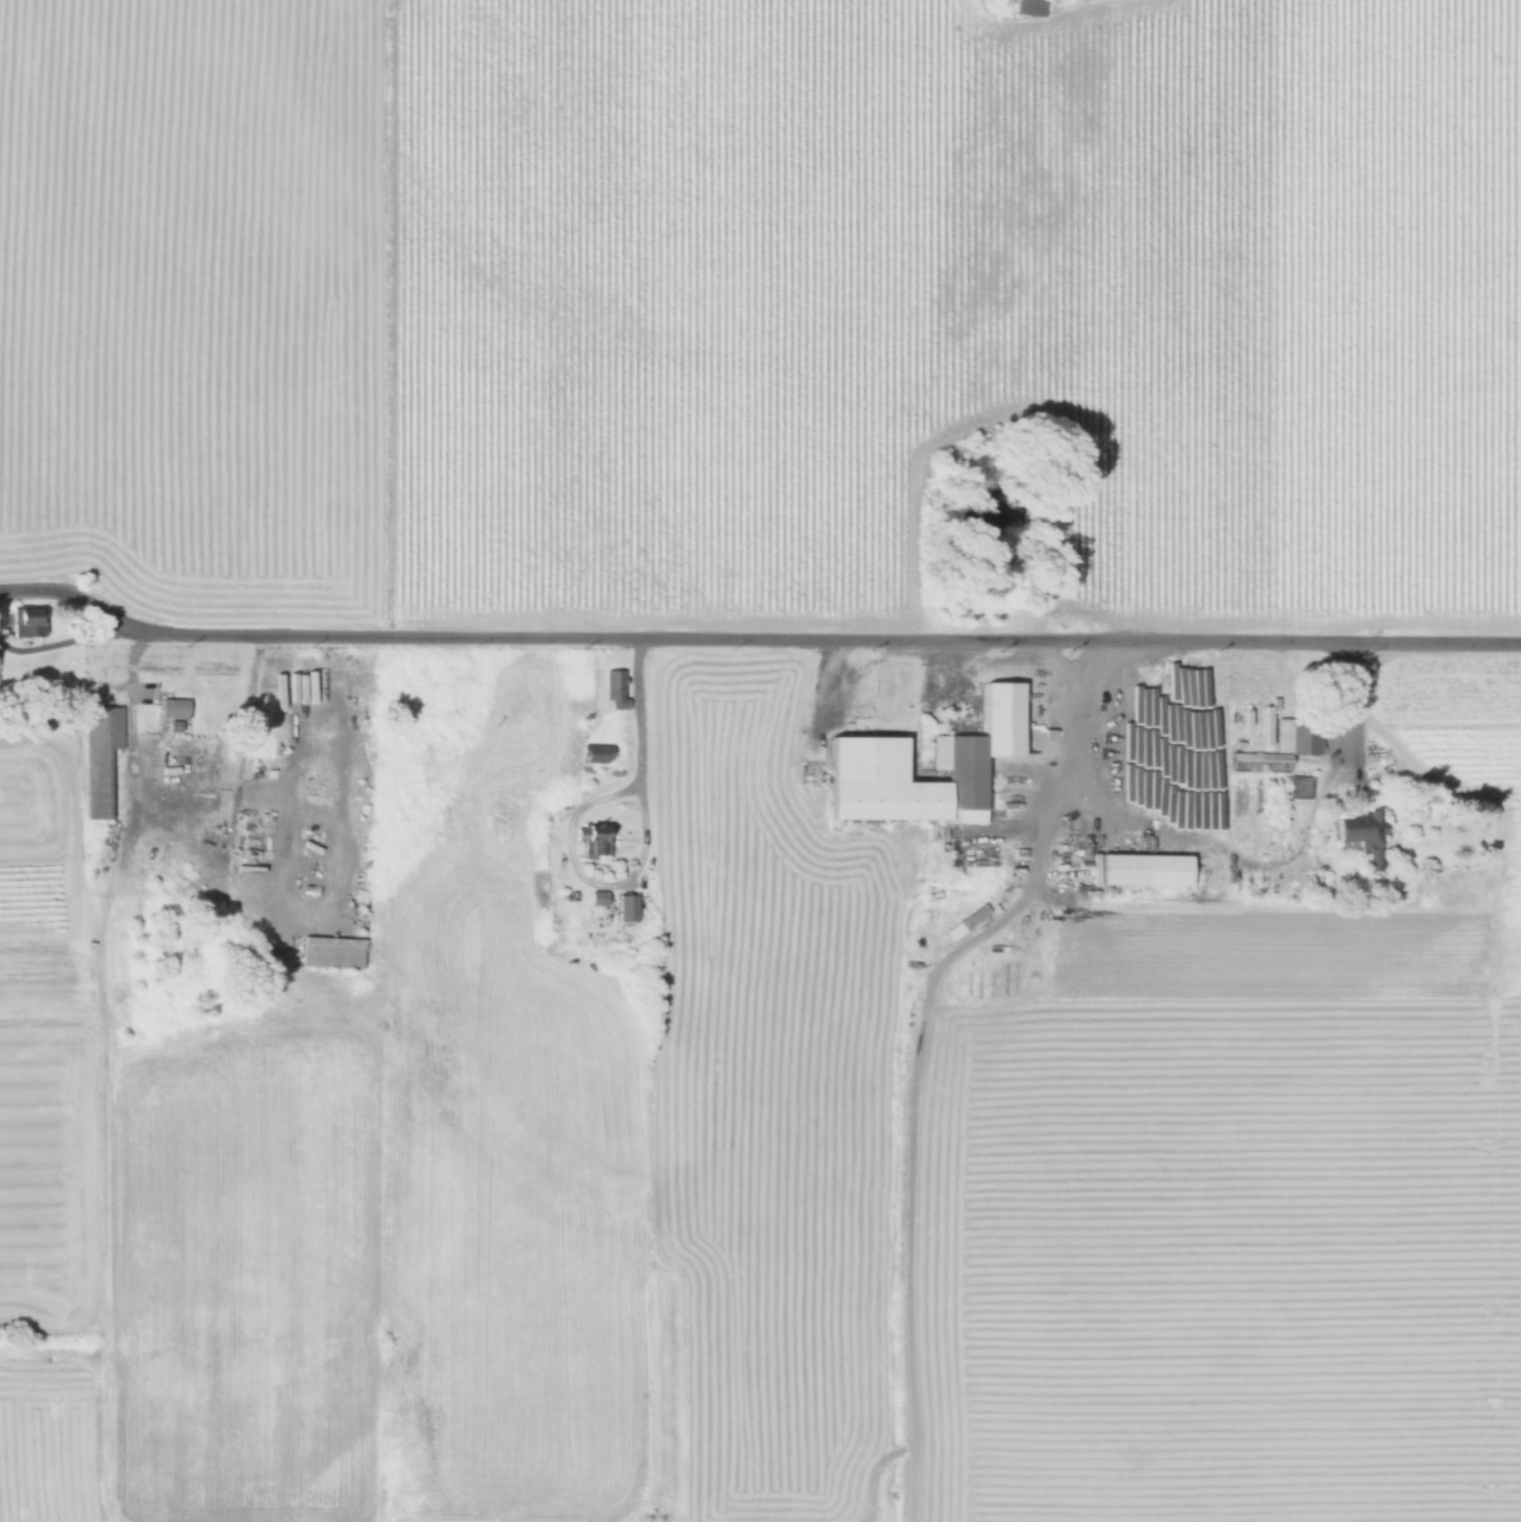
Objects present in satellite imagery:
crop: (607, 593)
building: (26, 622)
road: (756, 637)
building: (612, 687)
building: (1281, 745)
building: (974, 746)
building: (596, 753)
building: (100, 756)
building: (407, 769)
building: (1007, 776)
building: (1360, 832)
building: (592, 842)
road: (1218, 854)
road: (639, 856)
building: (1143, 869)
building: (1310, 882)
building: (596, 898)
building: (626, 908)
road: (302, 919)
building: (141, 926)
crop: (1079, 1166)
crop: (49, 1440)

